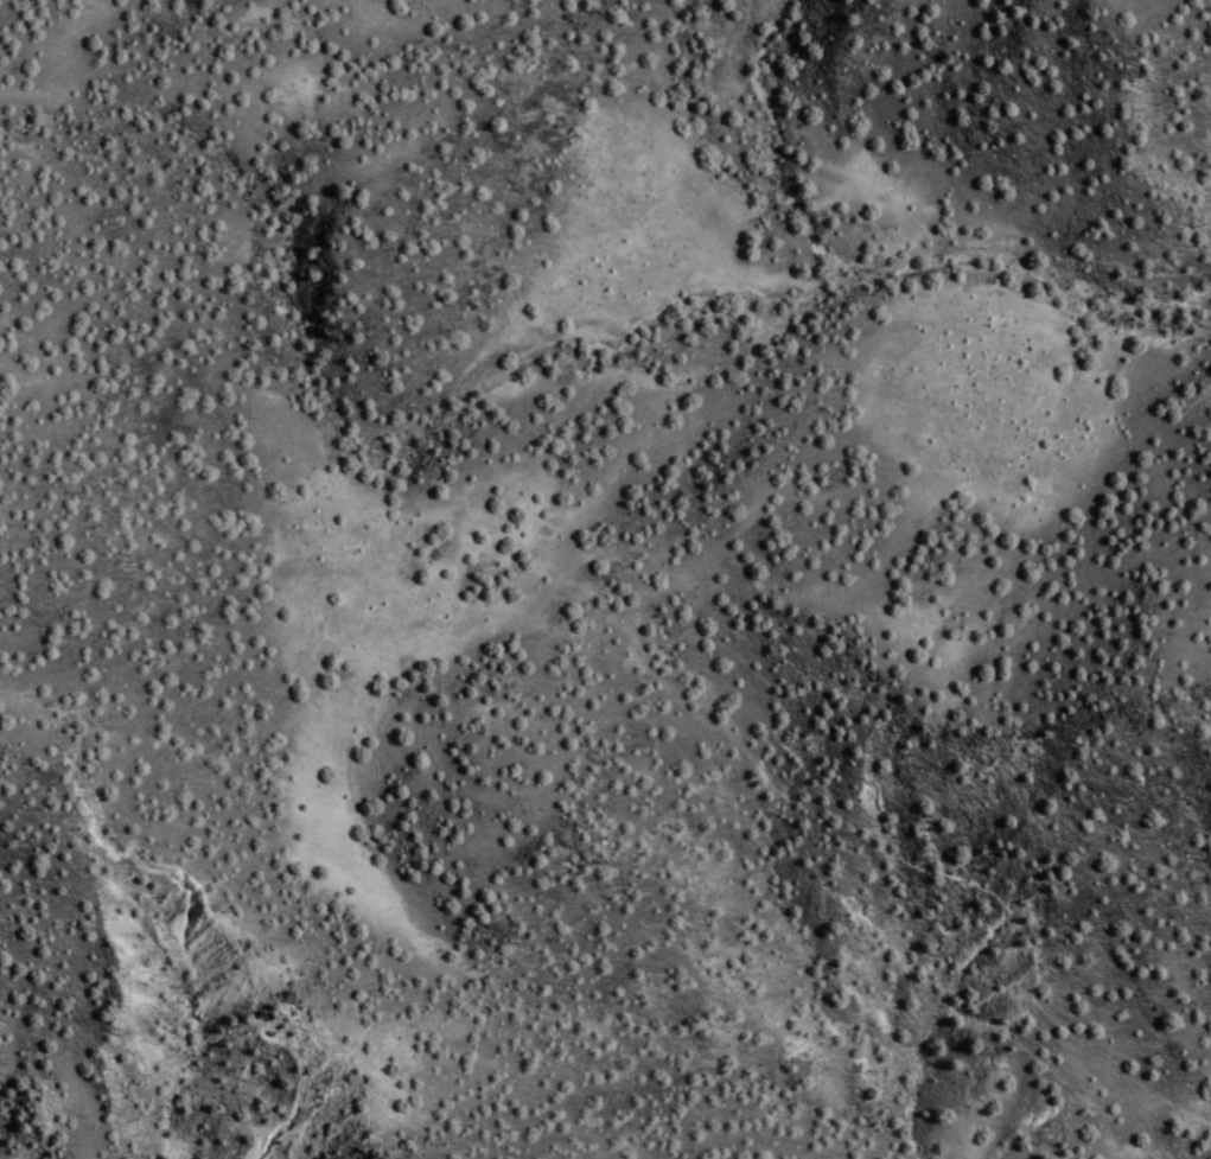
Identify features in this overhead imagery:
road: (575, 33)

